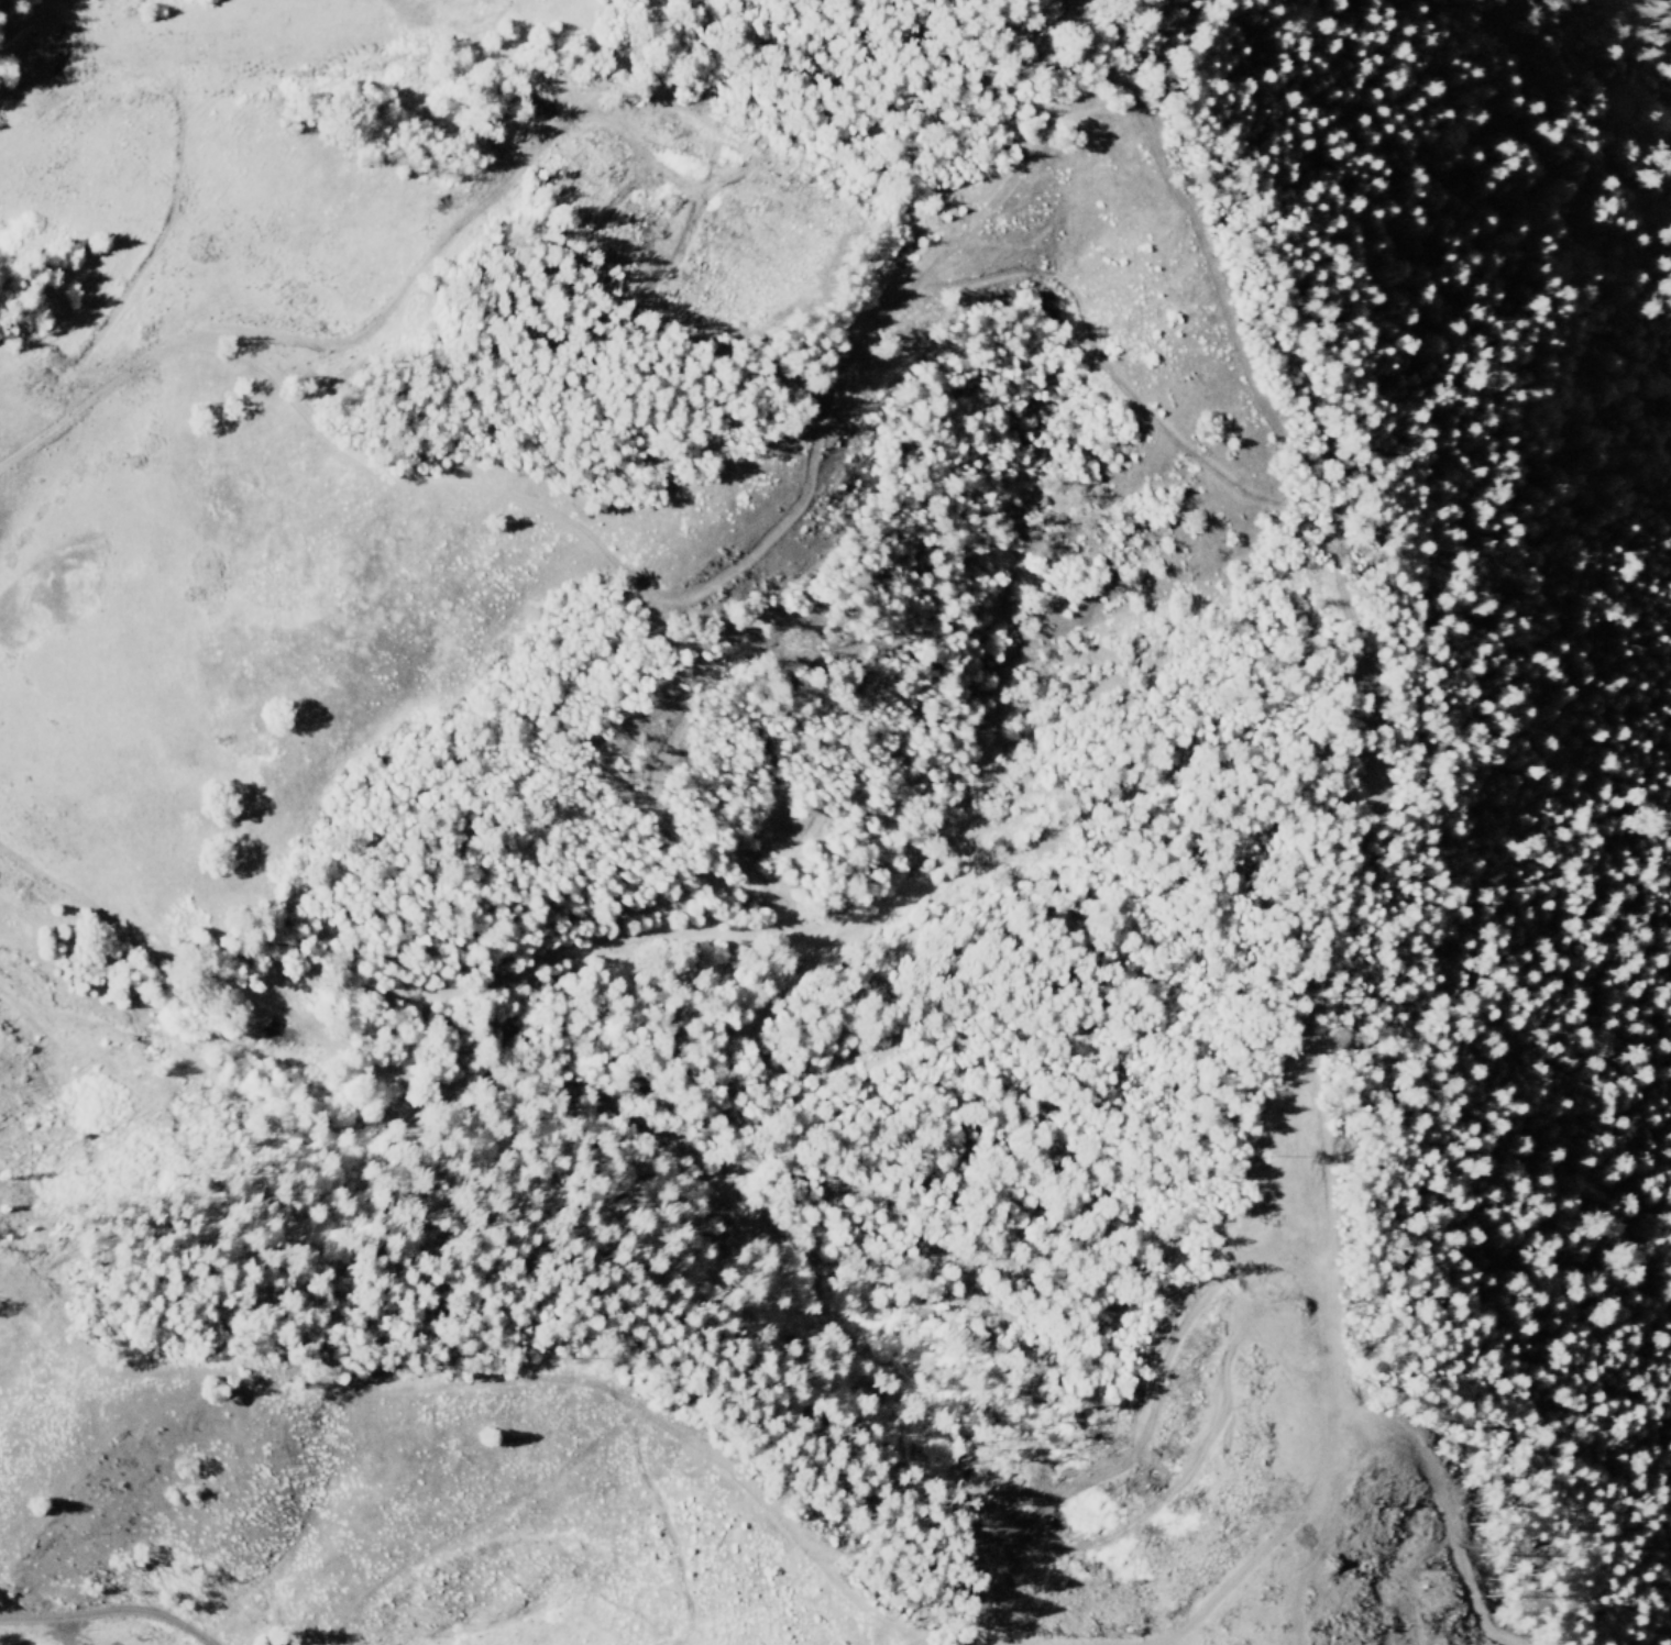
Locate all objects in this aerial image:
road: (108, 1616)

